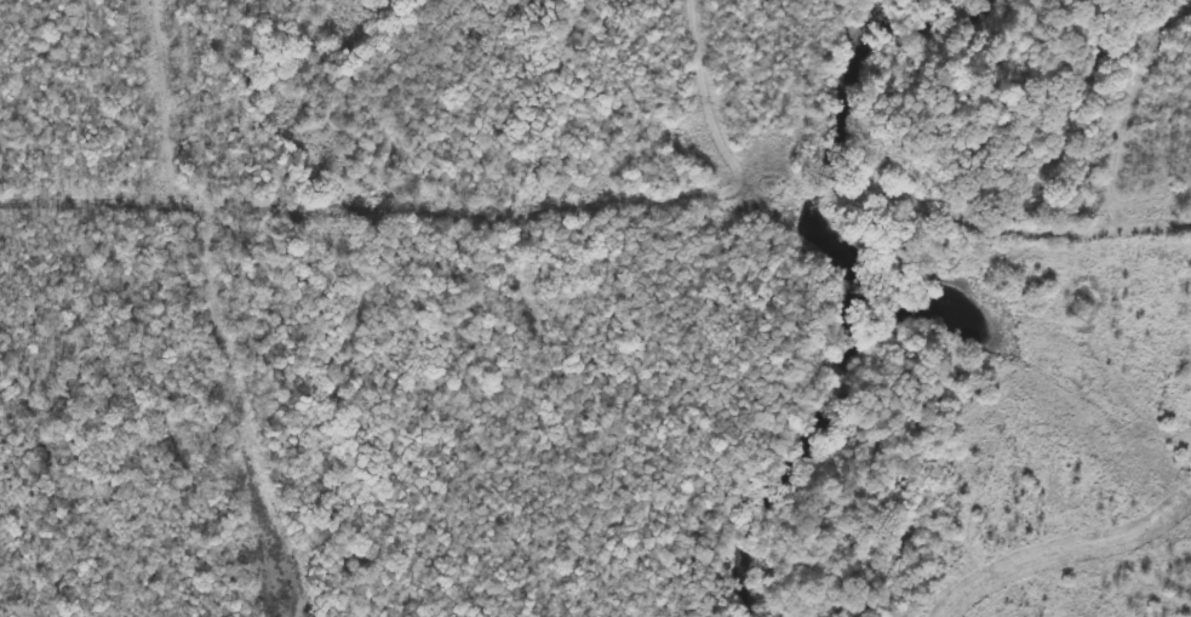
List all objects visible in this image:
river: (848, 262)

